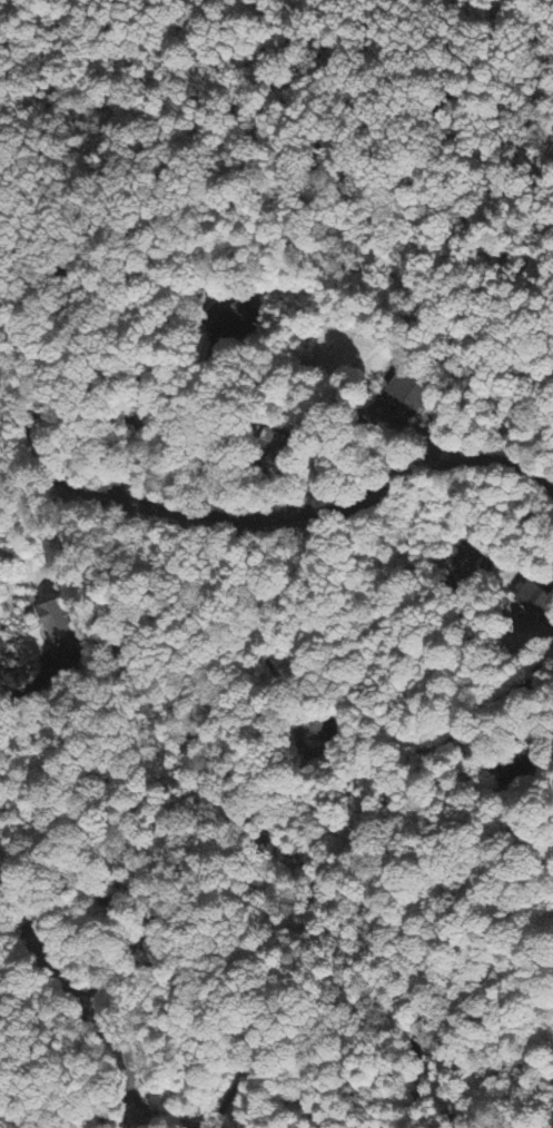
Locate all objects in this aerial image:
road: (264, 105)
road: (220, 187)
building: (412, 389)
road: (162, 407)
road: (13, 431)
road: (287, 515)
building: (61, 627)
road: (520, 681)
road: (33, 683)
road: (1, 812)
road: (75, 970)
road: (233, 1087)

